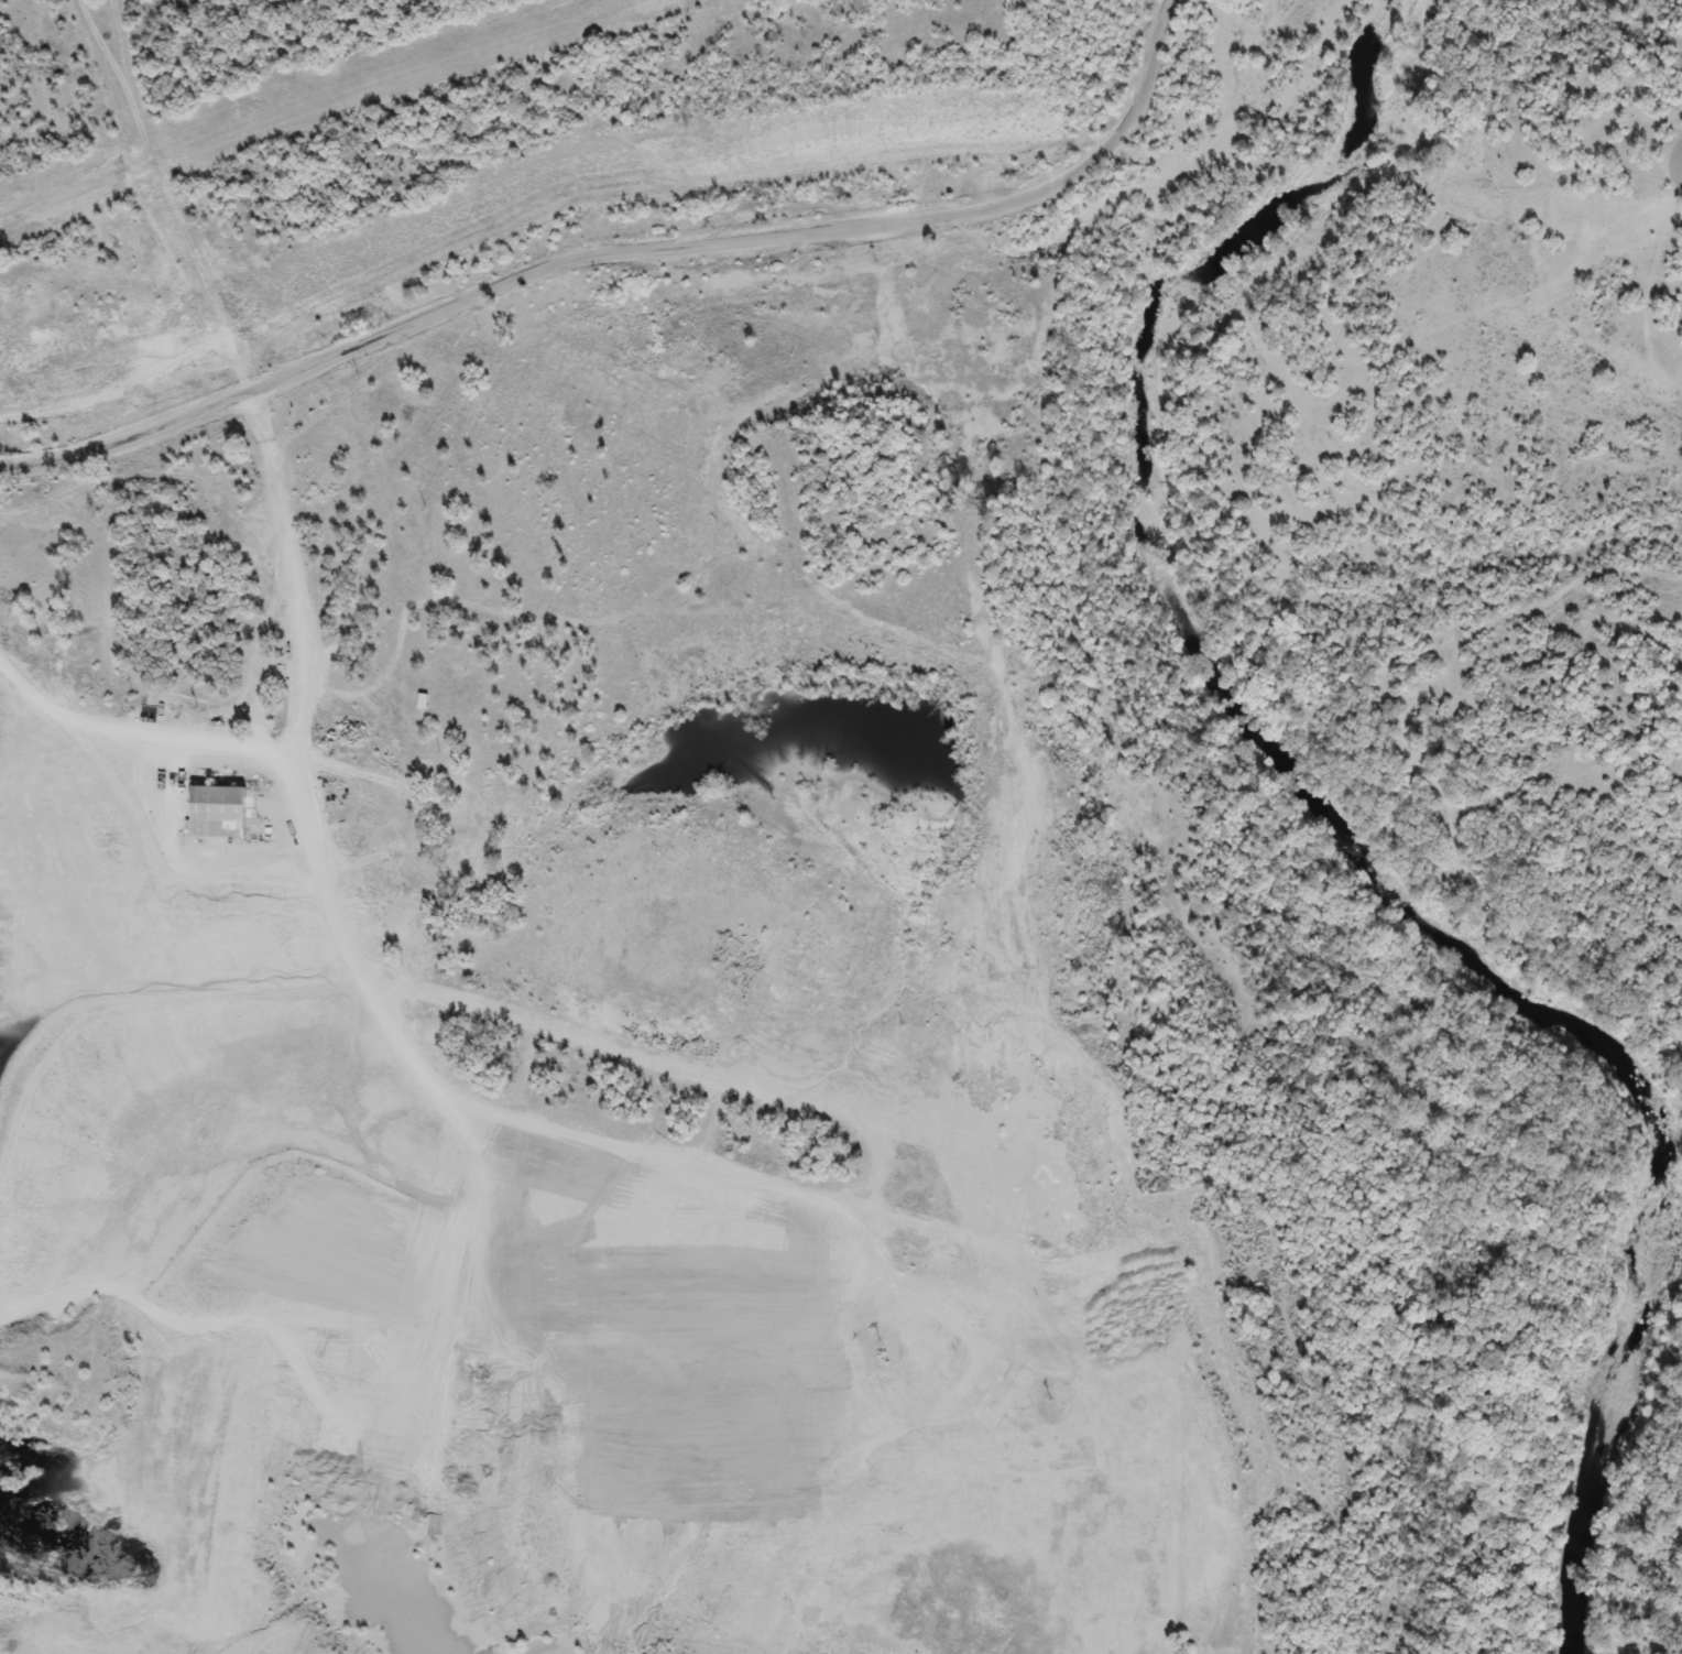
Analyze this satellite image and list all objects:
road: (625, 252)
road: (291, 553)
road: (230, 755)
building: (215, 812)

